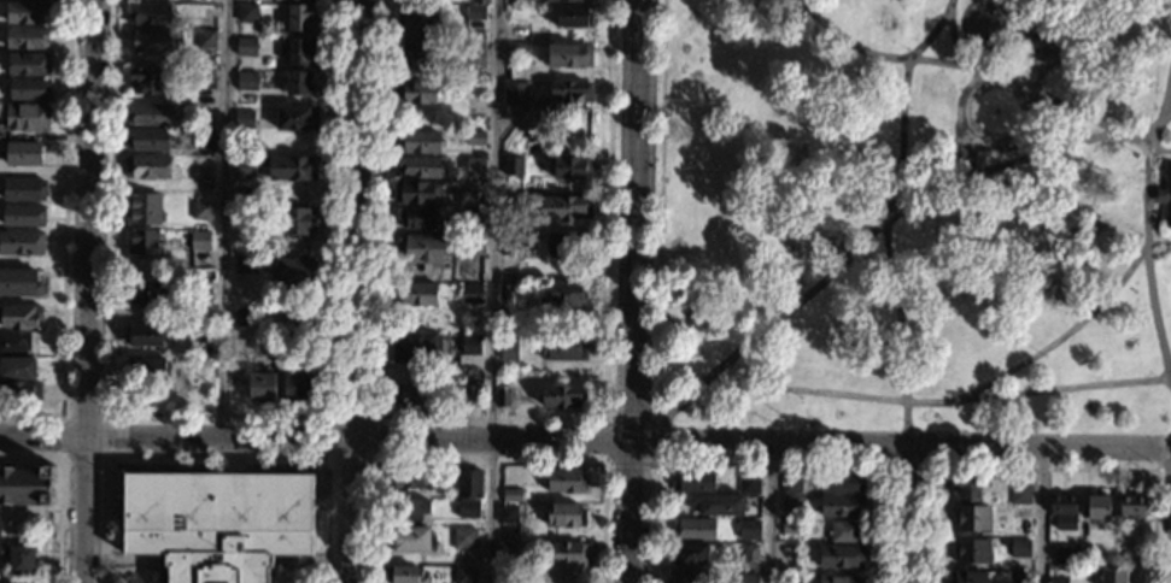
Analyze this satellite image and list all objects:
building: (293, 0)
building: (563, 0)
building: (480, 1)
building: (27, 11)
building: (247, 12)
building: (150, 13)
building: (417, 13)
building: (475, 13)
building: (573, 16)
building: (300, 17)
building: (27, 37)
building: (206, 39)
building: (1043, 39)
building: (152, 41)
building: (247, 46)
building: (519, 49)
building: (300, 51)
building: (418, 53)
building: (569, 54)
building: (475, 59)
building: (28, 64)
road: (973, 65)
building: (205, 78)
building: (146, 79)
building: (247, 81)
building: (297, 82)
building: (29, 89)
building: (418, 92)
building: (515, 92)
building: (569, 92)
road: (1165, 93)
building: (147, 113)
building: (205, 113)
building: (27, 117)
building: (297, 118)
road: (1166, 119)
building: (476, 120)
building: (244, 124)
building: (476, 139)
building: (147, 140)
building: (205, 140)
building: (418, 141)
road: (1163, 151)
building: (22, 153)
building: (955, 153)
road: (1017, 159)
building: (245, 165)
building: (513, 165)
building: (147, 166)
building: (420, 166)
building: (474, 166)
building: (292, 167)
building: (573, 167)
building: (204, 175)
building: (24, 189)
building: (415, 190)
building: (1165, 194)
building: (468, 198)
building: (567, 207)
building: (142, 208)
building: (201, 210)
road: (657, 210)
building: (244, 211)
building: (24, 214)
park: (912, 216)
road: (226, 217)
building: (420, 217)
building: (468, 217)
building: (299, 220)
road: (63, 236)
building: (200, 241)
building: (21, 242)
building: (144, 242)
road: (859, 242)
building: (507, 243)
building: (569, 243)
road: (1147, 243)
building: (475, 245)
building: (420, 247)
building: (242, 265)
building: (294, 272)
building: (19, 282)
building: (203, 290)
road: (87, 291)
building: (142, 291)
road: (361, 291)
road: (492, 291)
building: (505, 291)
road: (632, 291)
building: (417, 294)
building: (472, 294)
building: (567, 294)
building: (21, 316)
building: (245, 317)
road: (898, 322)
building: (297, 323)
building: (146, 335)
building: (199, 338)
road: (1058, 338)
building: (14, 341)
building: (415, 346)
building: (470, 346)
building: (564, 348)
building: (509, 351)
building: (17, 369)
building: (148, 369)
building: (260, 385)
building: (297, 387)
building: (19, 390)
building: (414, 395)
building: (470, 395)
building: (502, 396)
building: (563, 396)
road: (939, 400)
road: (62, 413)
road: (218, 416)
road: (375, 416)
road: (491, 418)
road: (630, 419)
road: (585, 438)
road: (603, 441)
road: (654, 442)
road: (913, 446)
road: (104, 458)
road: (216, 459)
road: (330, 461)
road: (487, 461)
road: (1158, 461)
road: (628, 464)
road: (767, 465)
road: (1038, 467)
building: (409, 477)
building: (564, 481)
building: (697, 481)
building: (748, 482)
building: (841, 482)
building: (470, 483)
building: (791, 483)
building: (27, 484)
building: (967, 488)
road: (58, 490)
building: (1019, 493)
building: (511, 494)
building: (721, 503)
building: (791, 503)
building: (1061, 503)
building: (839, 505)
building: (1131, 505)
building: (1097, 507)
building: (411, 508)
building: (468, 508)
road: (769, 512)
building: (1019, 512)
building: (509, 513)
building: (564, 514)
road: (900, 514)
road: (1041, 516)
building: (972, 517)
building: (217, 523)
building: (791, 526)
building: (693, 528)
building: (748, 529)
building: (843, 531)
building: (411, 537)
building: (464, 537)
building: (1020, 547)
building: (505, 550)
building: (971, 550)
building: (568, 552)
building: (1066, 553)
building: (691, 554)
building: (749, 555)
building: (841, 555)
building: (1084, 555)
building: (19, 559)
building: (402, 573)
building: (505, 573)
building: (464, 575)
building: (561, 575)
building: (687, 575)
building: (1113, 576)
building: (746, 577)
building: (965, 577)
building: (1018, 577)
building: (841, 579)
building: (1056, 579)

